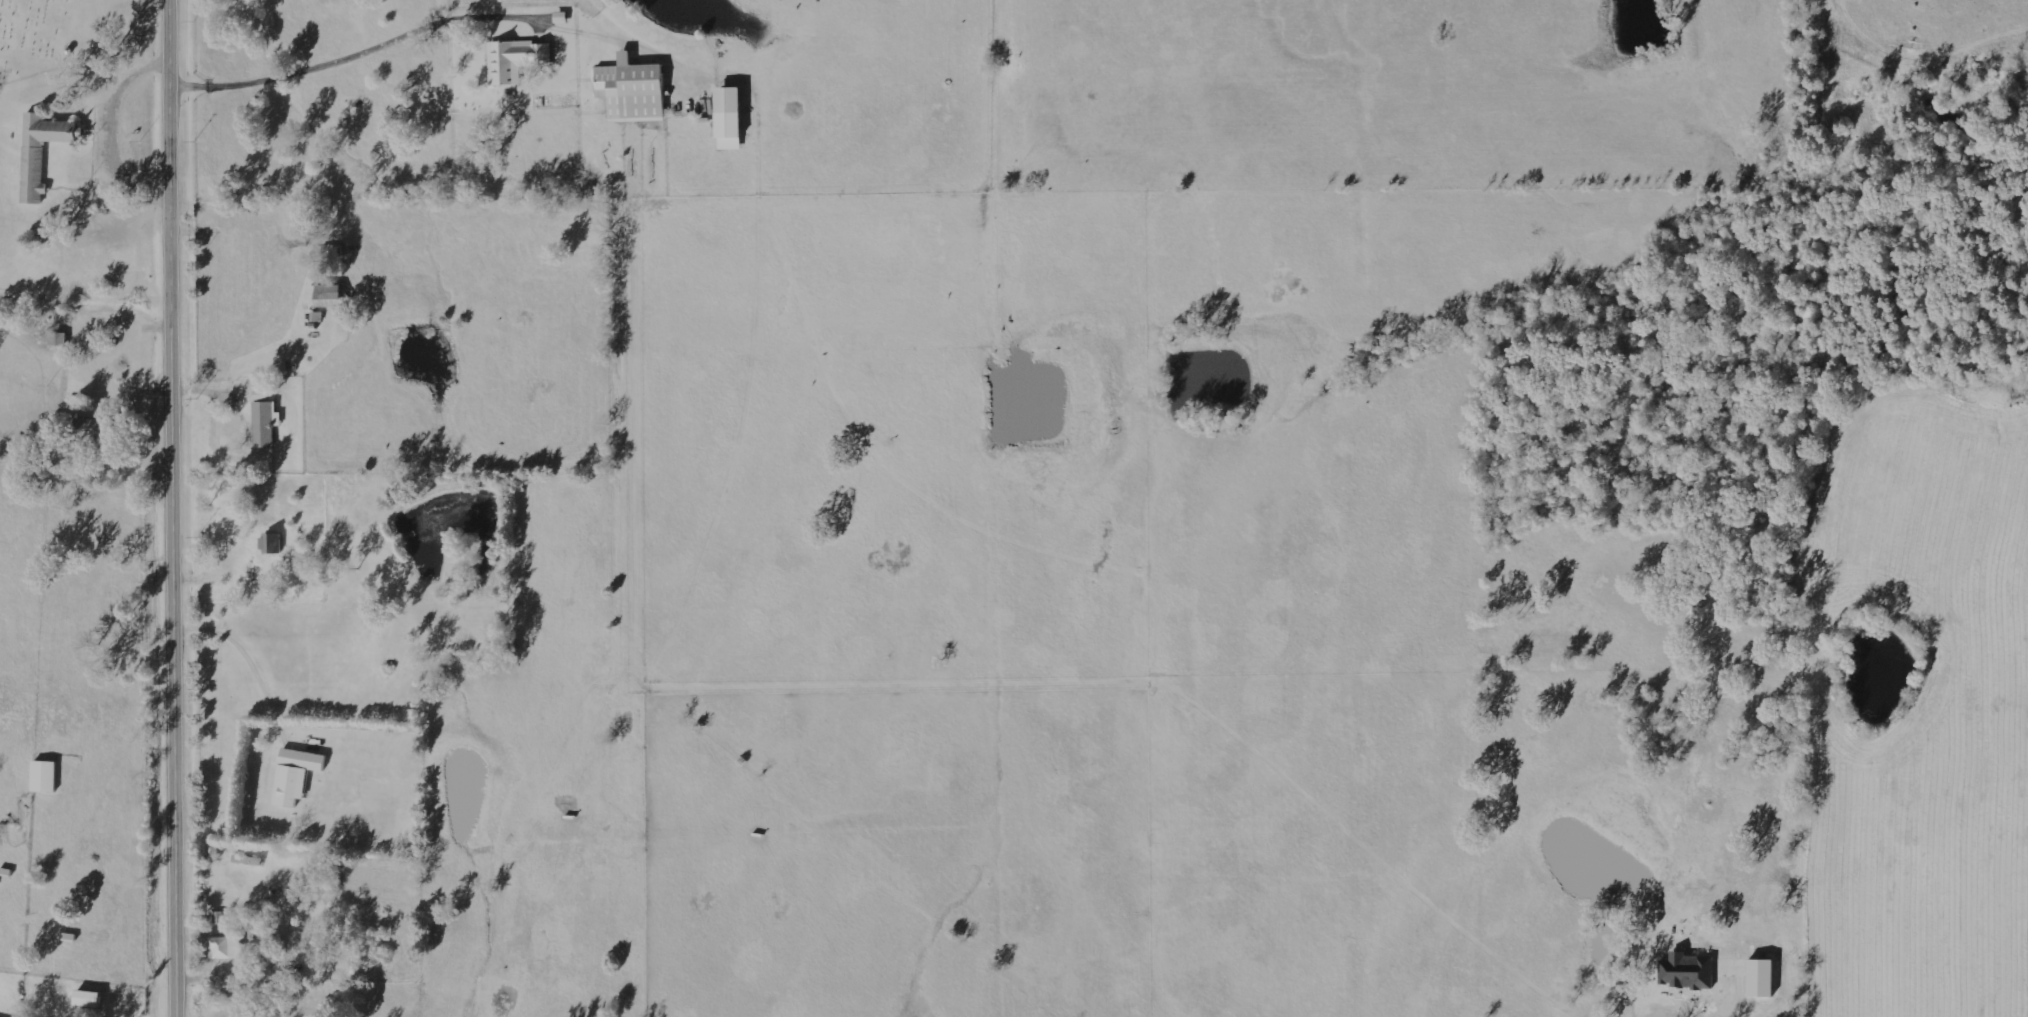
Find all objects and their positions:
building: (563, 18)
road: (436, 22)
building: (518, 60)
building: (635, 91)
building: (733, 119)
building: (39, 155)
building: (332, 296)
building: (267, 420)
building: (95, 433)
road: (178, 508)
building: (274, 544)
building: (297, 776)
building: (46, 777)
building: (220, 918)
building: (227, 949)

